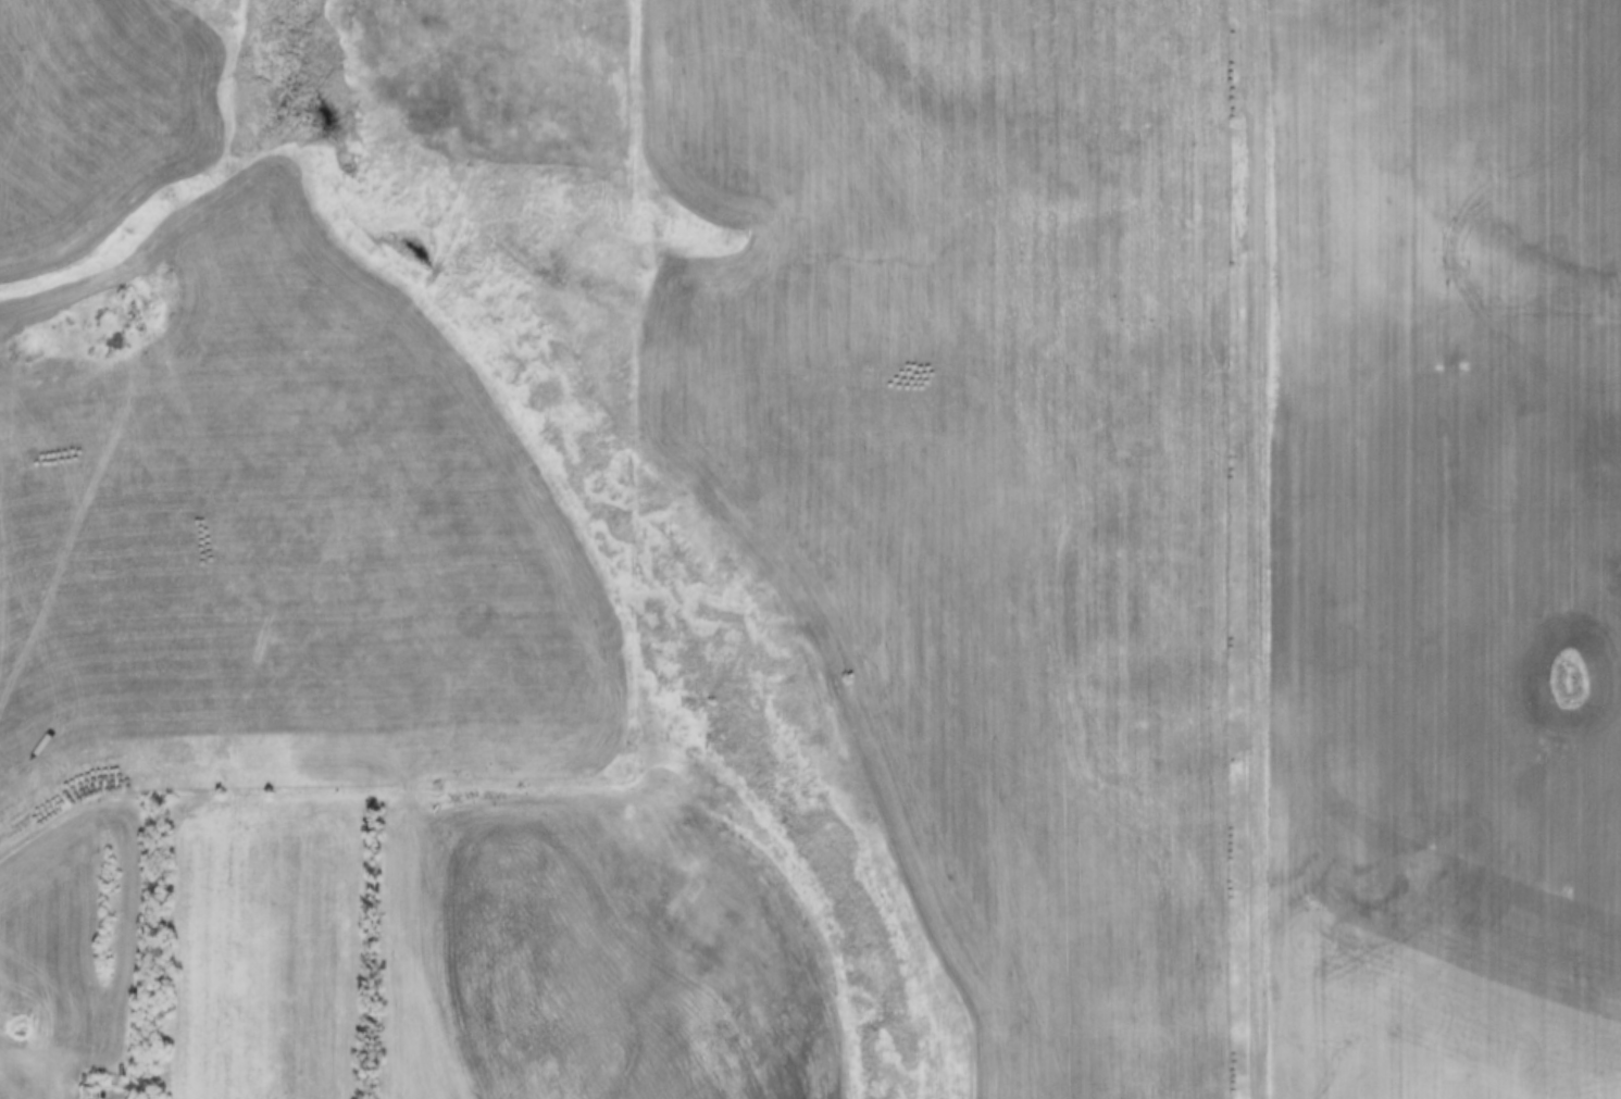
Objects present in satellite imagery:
road: (1259, 549)

